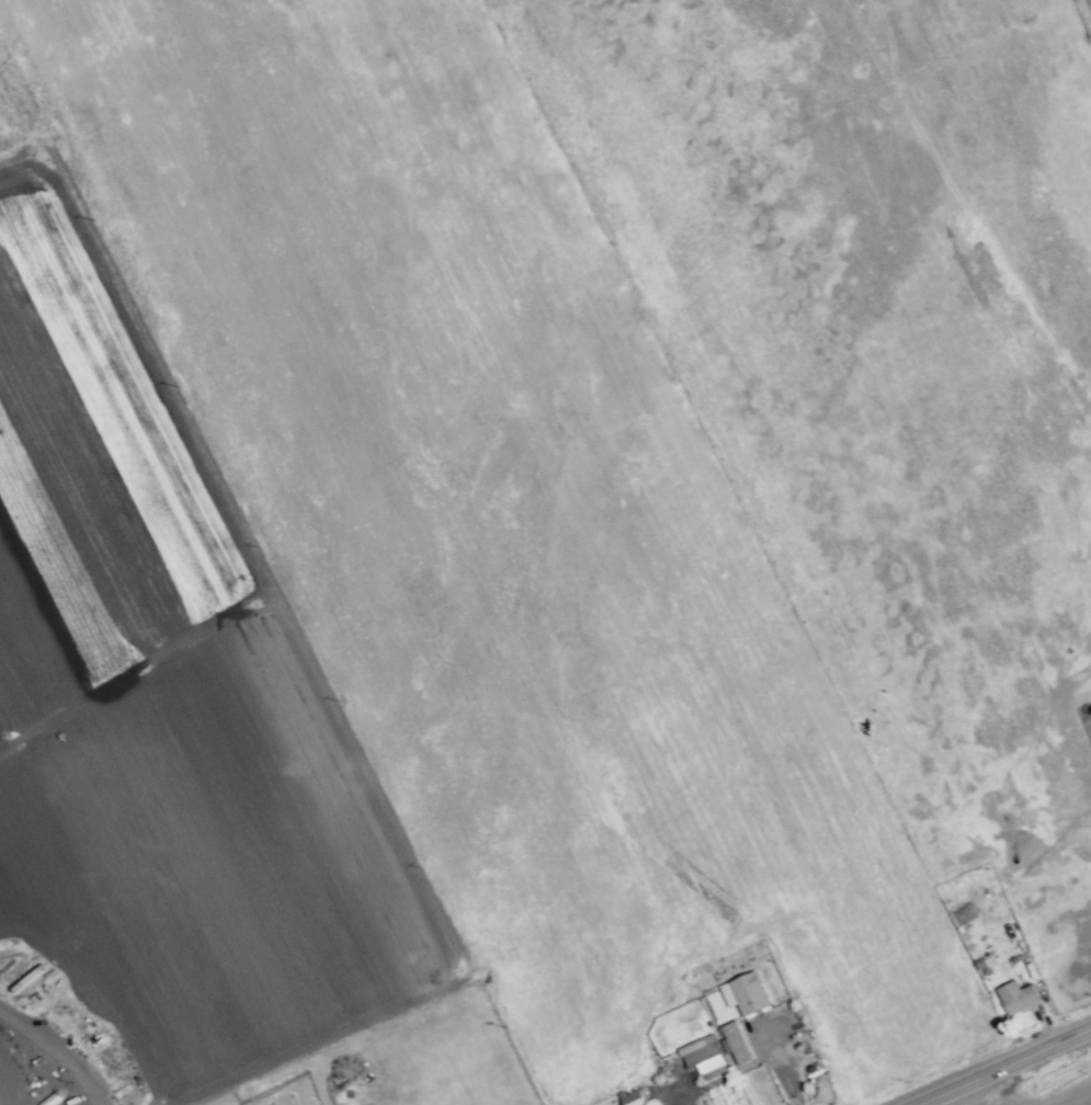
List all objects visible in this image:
road: (1086, 11)
crop: (3, 133)
crop: (391, 620)
building: (749, 994)
building: (1015, 999)
building: (735, 1044)
building: (704, 1059)
road: (746, 1064)
road: (1011, 1070)
building: (713, 1072)
crop: (1021, 1086)
building: (633, 1100)

